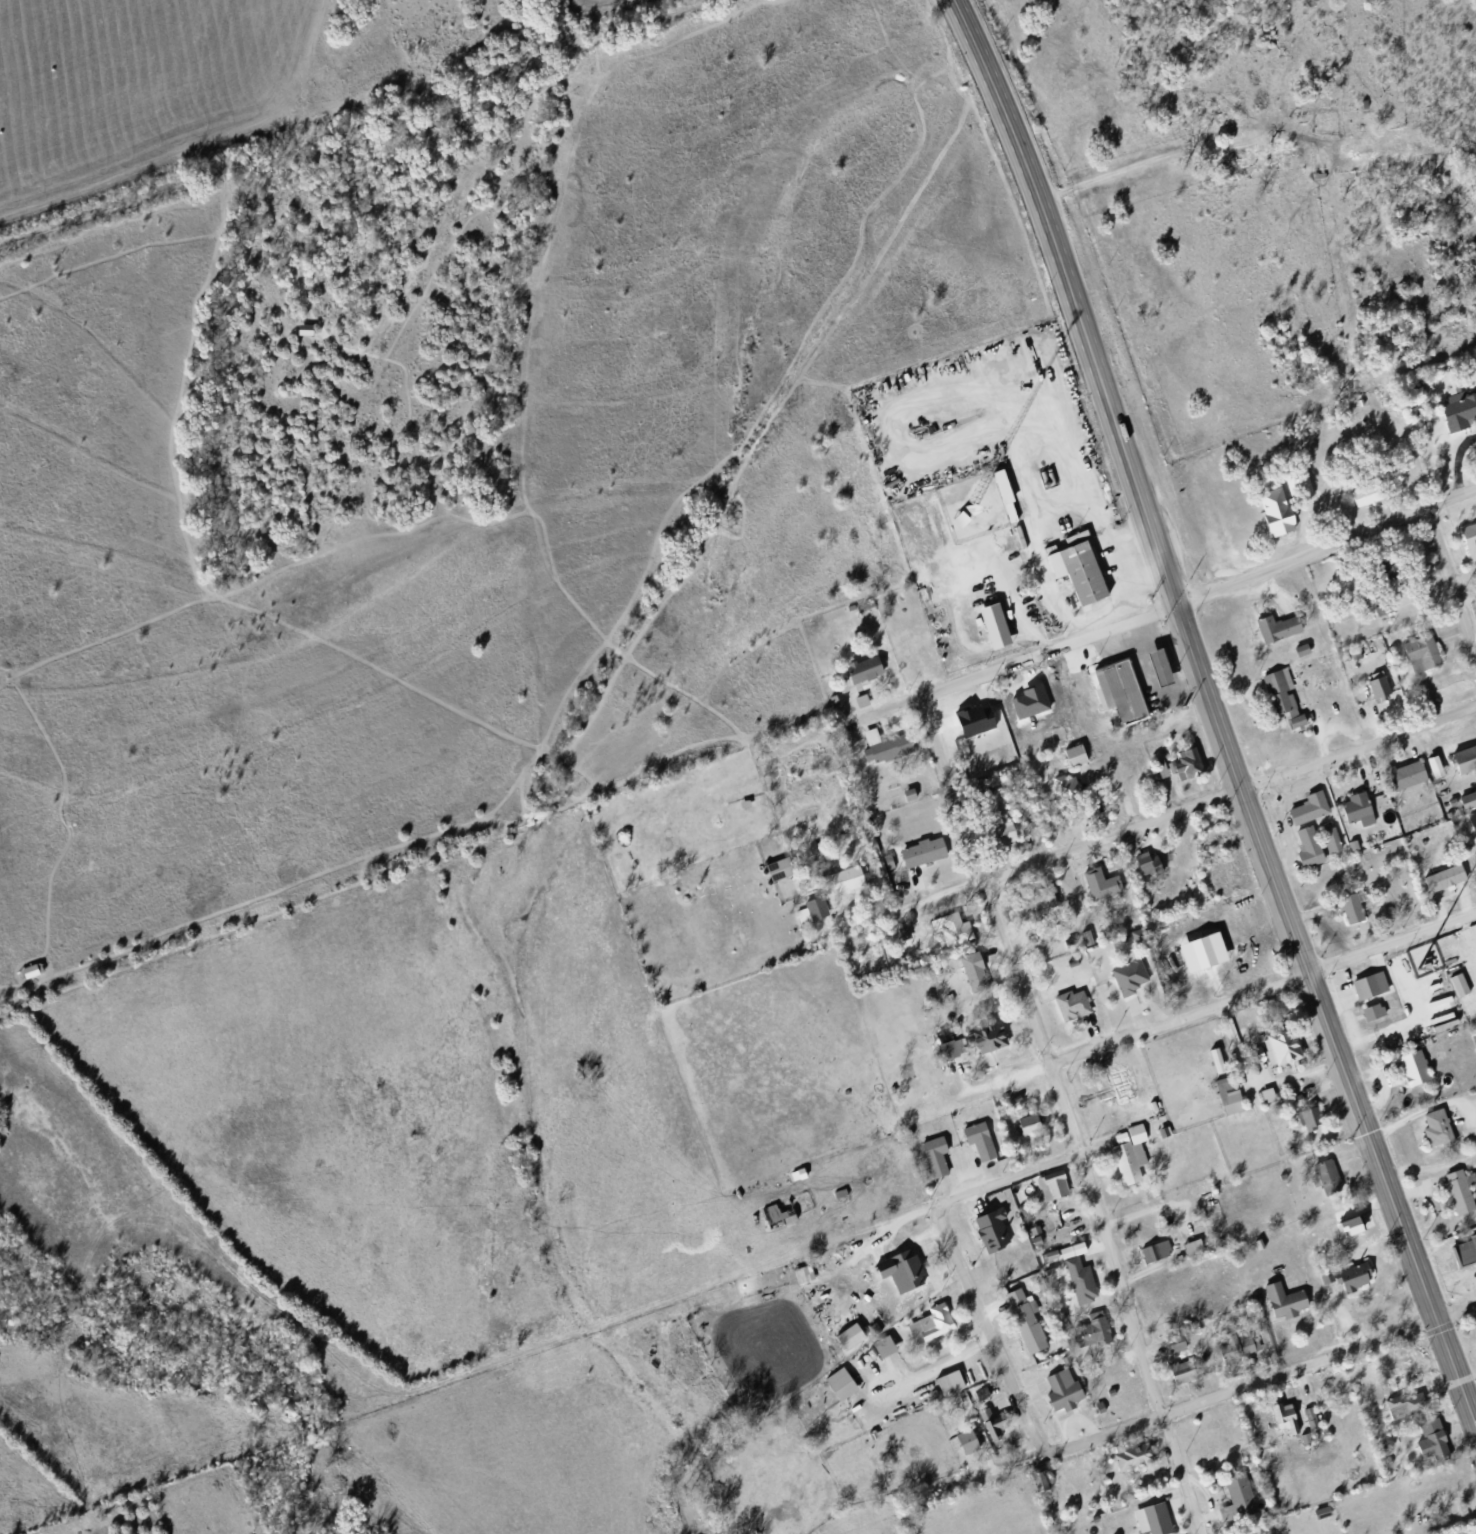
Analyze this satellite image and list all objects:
building: (1271, 159)
building: (1235, 165)
road: (1071, 297)
building: (1456, 412)
building: (1007, 492)
building: (1361, 502)
road: (1053, 505)
building: (1280, 508)
building: (1468, 545)
road: (1325, 547)
building: (1073, 574)
building: (1386, 575)
road: (1450, 581)
road: (1013, 590)
building: (865, 608)
building: (847, 610)
building: (1381, 614)
building: (991, 631)
building: (1274, 632)
road: (1133, 648)
building: (1304, 648)
building: (1298, 654)
building: (1417, 659)
road: (1015, 660)
building: (1165, 665)
building: (860, 673)
building: (1154, 673)
road: (1175, 674)
road: (1147, 691)
building: (1374, 691)
building: (1116, 698)
building: (1277, 700)
building: (829, 704)
building: (858, 705)
road: (1357, 747)
building: (880, 750)
building: (1078, 753)
building: (1461, 760)
building: (1071, 761)
building: (1437, 765)
building: (1182, 769)
building: (1154, 772)
building: (1430, 773)
building: (1398, 781)
building: (973, 791)
building: (1062, 793)
building: (905, 799)
building: (1465, 804)
building: (741, 807)
building: (1305, 813)
building: (1353, 815)
building: (1474, 815)
road: (1281, 821)
building: (1471, 828)
building: (1000, 838)
building: (1333, 838)
building: (1326, 844)
building: (1304, 853)
building: (920, 856)
road: (1028, 860)
building: (1099, 861)
building: (1149, 862)
building: (1473, 863)
building: (1142, 871)
building: (777, 873)
building: (1440, 884)
building: (841, 886)
building: (1095, 889)
building: (1039, 903)
building: (1354, 908)
building: (1345, 912)
building: (809, 913)
building: (946, 935)
road: (1391, 941)
building: (1207, 951)
building: (969, 975)
building: (1127, 980)
building: (1461, 983)
building: (1365, 991)
building: (1454, 991)
building: (945, 999)
building: (1067, 1010)
building: (1375, 1011)
road: (1322, 1014)
road: (1178, 1018)
building: (982, 1042)
building: (1273, 1052)
building: (947, 1053)
building: (1409, 1073)
road: (1255, 1084)
building: (1222, 1085)
building: (1110, 1088)
building: (1270, 1094)
road: (1426, 1108)
building: (1150, 1111)
road: (1064, 1113)
building: (1303, 1119)
building: (1032, 1122)
building: (1025, 1129)
building: (1432, 1133)
building: (1160, 1136)
building: (976, 1146)
building: (1127, 1159)
building: (932, 1160)
road: (1430, 1166)
building: (801, 1173)
building: (795, 1178)
road: (1008, 1178)
building: (1279, 1180)
building: (1322, 1180)
building: (1048, 1189)
building: (1455, 1197)
building: (837, 1198)
road: (1436, 1204)
building: (775, 1218)
building: (1357, 1224)
building: (988, 1231)
building: (1196, 1246)
building: (1075, 1249)
building: (1189, 1253)
building: (1068, 1255)
building: (1151, 1255)
building: (1464, 1257)
building: (1047, 1260)
building: (1170, 1263)
building: (806, 1273)
building: (893, 1273)
building: (799, 1277)
building: (1046, 1278)
building: (1344, 1280)
building: (1077, 1286)
building: (1279, 1304)
road: (1456, 1312)
building: (1020, 1322)
road: (987, 1327)
building: (927, 1329)
building: (1181, 1331)
building: (1087, 1335)
building: (846, 1342)
building: (1178, 1342)
building: (1171, 1348)
building: (880, 1351)
building: (1234, 1354)
building: (1185, 1370)
building: (1175, 1376)
road: (1242, 1386)
building: (945, 1387)
building: (837, 1388)
building: (985, 1392)
building: (1058, 1394)
building: (1107, 1395)
building: (1403, 1398)
building: (1095, 1411)
building: (1282, 1420)
building: (994, 1431)
building: (970, 1440)
building: (1427, 1443)
building: (962, 1445)
building: (1383, 1448)
building: (1128, 1461)
building: (1044, 1481)
building: (1034, 1486)
building: (1236, 1499)
building: (1325, 1511)
building: (1318, 1515)
building: (1152, 1520)
building: (1474, 1533)

